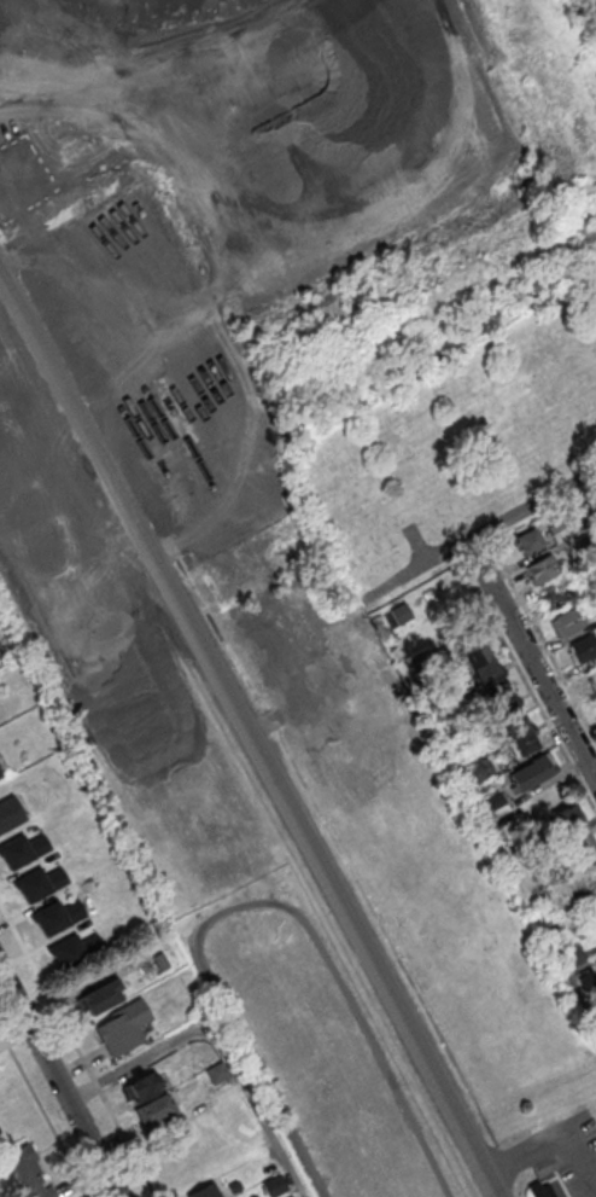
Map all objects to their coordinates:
park: (594, 2)
building: (215, 394)
park: (463, 449)
building: (567, 525)
road: (481, 531)
building: (583, 538)
building: (528, 540)
road: (416, 545)
building: (543, 569)
building: (556, 594)
building: (401, 612)
building: (568, 621)
building: (0, 644)
building: (584, 646)
building: (419, 658)
road: (536, 669)
building: (592, 676)
building: (497, 692)
road: (533, 696)
road: (251, 734)
building: (481, 771)
building: (531, 772)
building: (0, 774)
building: (497, 804)
building: (10, 813)
building: (575, 830)
building: (575, 954)
building: (589, 980)
building: (103, 996)
building: (122, 1027)
road: (220, 1044)
road: (77, 1050)
road: (59, 1083)
building: (142, 1087)
building: (154, 1110)
building: (25, 1168)
building: (542, 1190)
building: (204, 1192)

